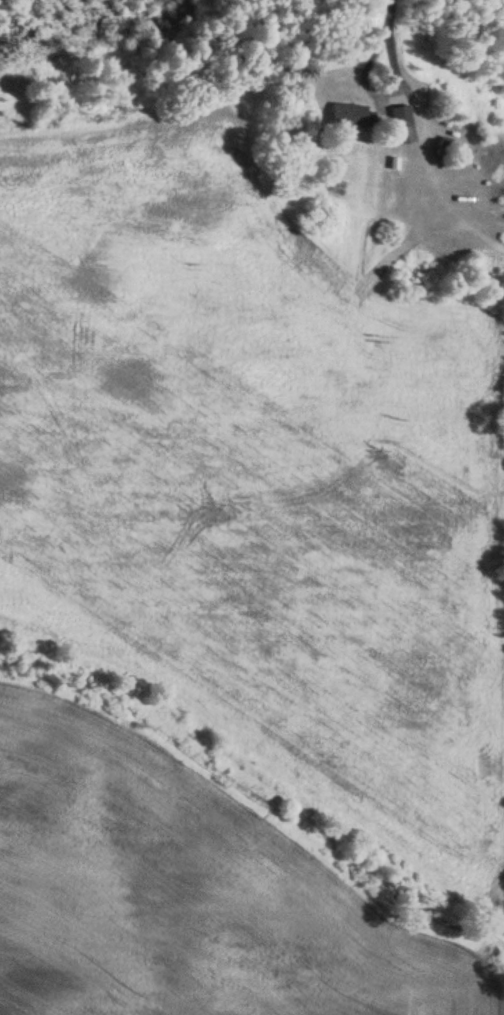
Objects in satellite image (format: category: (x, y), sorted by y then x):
road: (389, 15)
road: (378, 93)
building: (346, 119)
building: (401, 127)

